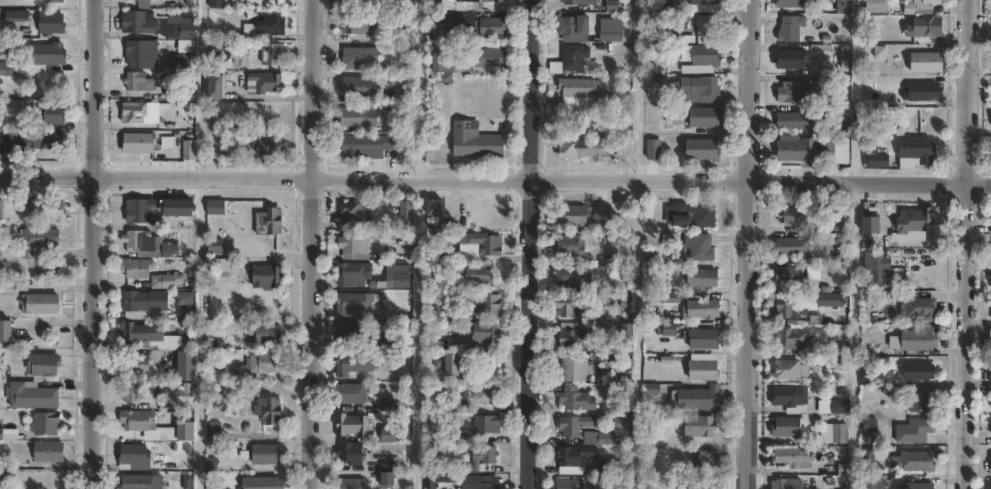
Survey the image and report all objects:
building: (356, 0)
building: (494, 0)
building: (51, 1)
building: (929, 1)
building: (579, 2)
building: (707, 2)
building: (260, 3)
building: (798, 3)
building: (146, 4)
building: (217, 4)
building: (443, 5)
building: (879, 7)
building: (452, 20)
building: (139, 22)
building: (53, 23)
building: (357, 24)
building: (273, 25)
building: (492, 26)
building: (929, 26)
building: (188, 27)
building: (577, 28)
building: (708, 28)
building: (792, 28)
building: (613, 30)
building: (252, 31)
building: (220, 34)
building: (143, 53)
building: (274, 53)
building: (49, 54)
building: (360, 57)
building: (492, 57)
building: (572, 59)
building: (704, 59)
building: (794, 59)
building: (181, 61)
building: (444, 61)
building: (929, 62)
building: (14, 68)
building: (139, 82)
building: (268, 82)
building: (217, 86)
building: (358, 86)
road: (93, 89)
building: (698, 89)
building: (801, 89)
road: (420, 90)
building: (586, 91)
road: (856, 91)
building: (926, 92)
building: (141, 113)
building: (53, 114)
building: (707, 116)
building: (361, 117)
building: (800, 121)
building: (47, 139)
building: (477, 140)
building: (140, 143)
building: (16, 145)
building: (369, 145)
building: (269, 146)
building: (805, 147)
building: (586, 148)
building: (705, 149)
building: (190, 150)
building: (918, 151)
building: (654, 154)
building: (880, 160)
road: (495, 181)
building: (180, 207)
building: (438, 207)
building: (216, 208)
building: (1, 209)
building: (141, 209)
building: (50, 210)
building: (356, 212)
building: (409, 212)
building: (604, 214)
building: (573, 216)
building: (693, 216)
building: (792, 216)
building: (841, 218)
building: (270, 221)
building: (913, 221)
building: (868, 224)
building: (41, 238)
building: (822, 239)
building: (356, 243)
building: (151, 244)
road: (308, 244)
road: (530, 244)
road: (745, 244)
road: (965, 244)
building: (482, 245)
building: (572, 246)
building: (217, 247)
building: (701, 247)
building: (790, 248)
building: (215, 264)
building: (870, 264)
building: (139, 268)
building: (352, 273)
building: (478, 274)
building: (576, 276)
building: (269, 277)
building: (790, 277)
building: (704, 280)
building: (167, 281)
building: (397, 281)
building: (829, 301)
building: (485, 303)
building: (42, 304)
building: (145, 304)
building: (355, 304)
building: (787, 306)
building: (569, 307)
building: (918, 308)
building: (705, 309)
building: (668, 329)
building: (6, 331)
building: (142, 332)
building: (486, 332)
road: (91, 334)
building: (268, 334)
building: (354, 334)
road: (420, 335)
road: (856, 335)
building: (574, 336)
building: (628, 336)
building: (704, 339)
building: (918, 339)
building: (789, 340)
building: (990, 342)
building: (181, 343)
building: (455, 345)
building: (355, 364)
building: (843, 364)
building: (45, 365)
building: (136, 365)
building: (265, 365)
building: (454, 365)
building: (188, 366)
building: (578, 370)
building: (706, 370)
building: (990, 370)
building: (788, 371)
building: (238, 372)
building: (917, 372)
building: (654, 389)
building: (132, 393)
building: (352, 394)
building: (33, 396)
building: (489, 396)
building: (699, 398)
building: (788, 399)
building: (579, 400)
building: (990, 400)
building: (919, 403)
building: (841, 407)
building: (270, 411)
building: (138, 420)
building: (47, 424)
building: (488, 424)
building: (576, 425)
building: (989, 425)
building: (352, 426)
building: (702, 426)
building: (784, 428)
building: (215, 431)
building: (912, 431)
building: (187, 432)
building: (6, 434)
building: (832, 434)
building: (390, 435)
building: (600, 438)
building: (352, 453)
building: (267, 454)
building: (50, 455)
building: (866, 456)
building: (135, 458)
building: (484, 459)
building: (576, 459)
building: (790, 459)
building: (708, 462)
building: (910, 462)
building: (989, 464)
building: (840, 470)
building: (4, 477)
building: (386, 477)
building: (436, 481)
building: (142, 482)
building: (485, 482)
building: (265, 483)
building: (352, 484)
building: (571, 484)
building: (784, 484)
building: (990, 484)
building: (707, 486)
building: (915, 486)

